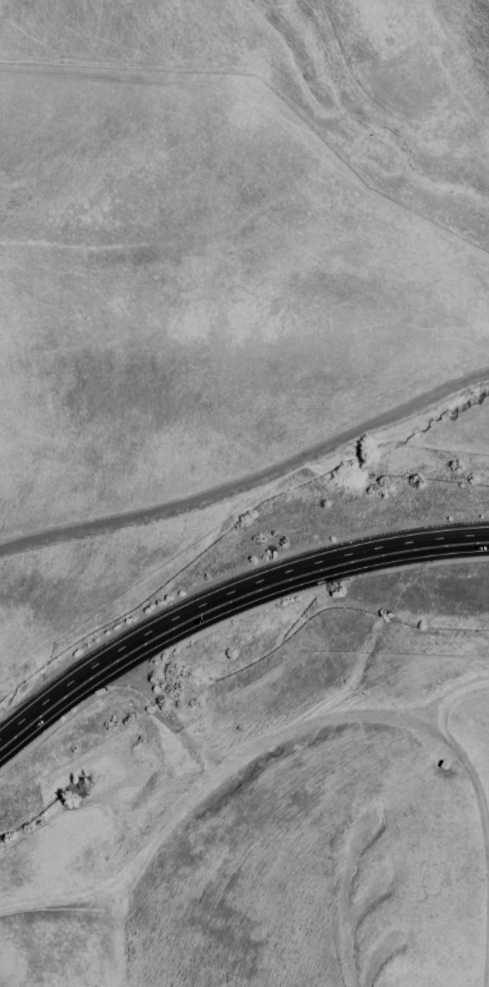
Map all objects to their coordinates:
road: (250, 481)
road: (227, 601)
road: (278, 740)
wastewater plant: (112, 801)
road: (127, 874)

